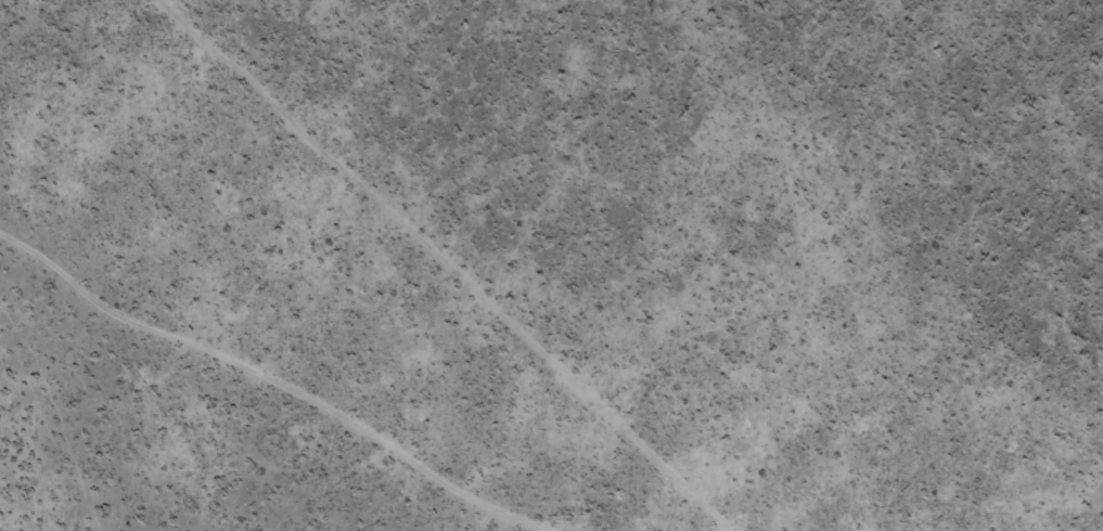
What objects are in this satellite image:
road: (253, 391)

